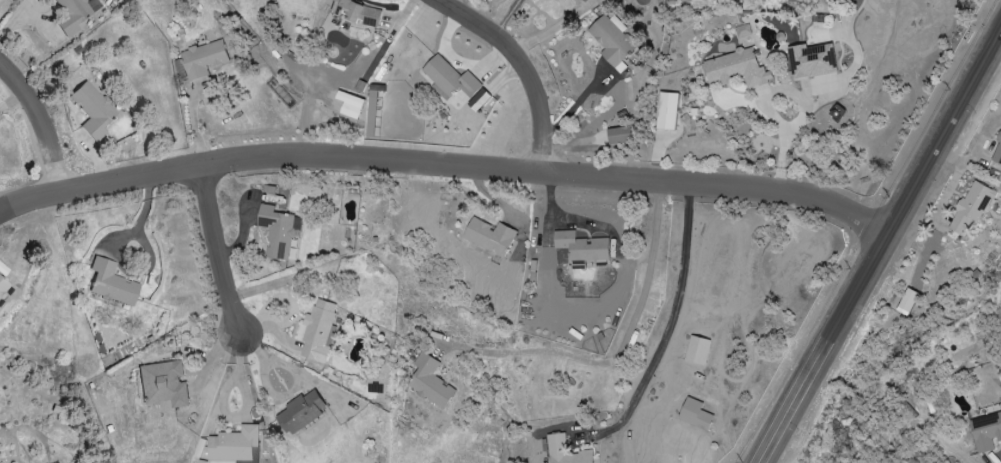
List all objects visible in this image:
building: (691, 0)
building: (355, 12)
building: (72, 15)
road: (555, 26)
building: (742, 31)
building: (610, 41)
building: (203, 59)
building: (811, 61)
road: (527, 67)
building: (735, 69)
building: (449, 78)
road: (10, 100)
building: (478, 100)
building: (349, 104)
building: (93, 110)
road: (39, 125)
building: (618, 135)
building: (997, 154)
road: (446, 166)
building: (971, 207)
building: (278, 231)
building: (489, 236)
road: (880, 245)
building: (580, 248)
road: (214, 249)
building: (111, 282)
building: (3, 287)
building: (906, 302)
road: (666, 330)
building: (318, 331)
building: (696, 350)
road: (619, 354)
building: (429, 382)
building: (164, 384)
road: (245, 406)
building: (301, 412)
building: (694, 414)
building: (986, 432)
building: (232, 444)
building: (564, 451)

